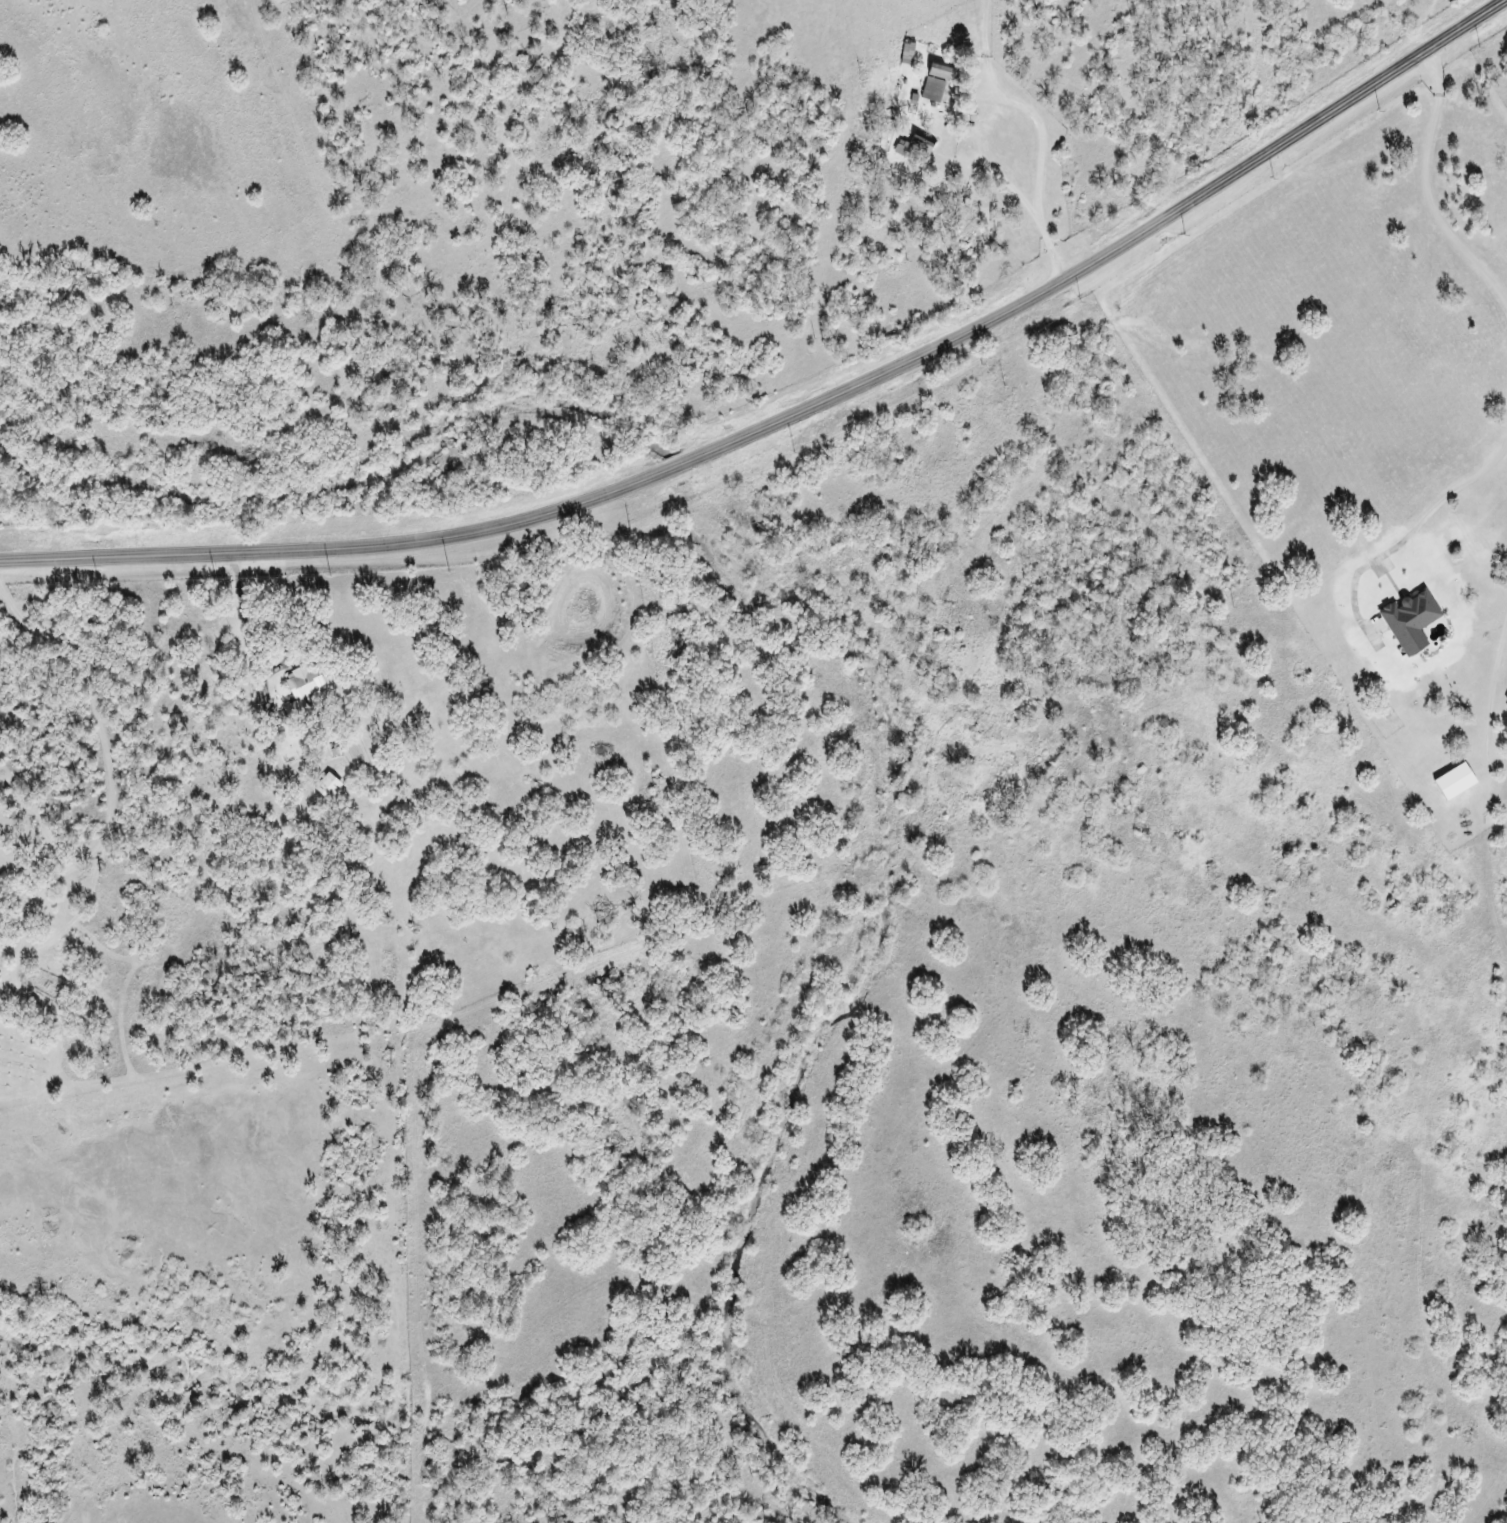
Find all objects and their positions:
building: (940, 72)
building: (932, 89)
road: (1062, 139)
building: (913, 149)
road: (1433, 186)
road: (797, 411)
building: (1409, 621)
road: (124, 629)
building: (303, 690)
road: (310, 768)
building: (1453, 782)
building: (327, 786)
road: (1487, 817)
road: (2, 1004)

